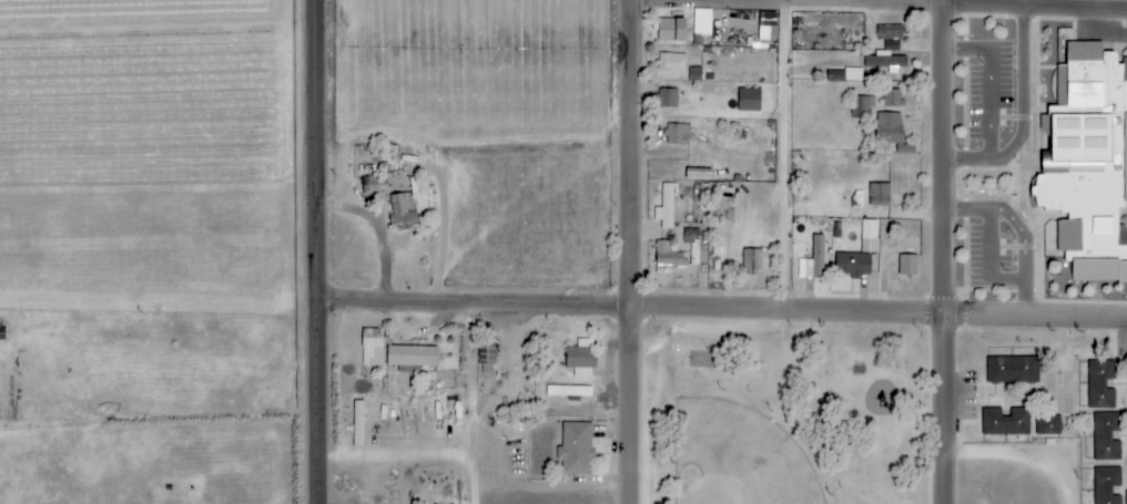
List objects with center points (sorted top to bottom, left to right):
road: (883, 3)
road: (1098, 4)
building: (702, 22)
building: (766, 27)
building: (670, 30)
building: (890, 32)
road: (1099, 33)
building: (889, 61)
building: (671, 63)
building: (853, 74)
building: (1090, 76)
road: (991, 80)
building: (668, 97)
building: (748, 100)
building: (862, 106)
road: (1023, 116)
building: (892, 123)
building: (677, 134)
road: (793, 153)
building: (879, 195)
building: (1084, 195)
building: (666, 207)
building: (402, 210)
road: (1021, 229)
building: (679, 250)
road: (323, 251)
road: (637, 251)
road: (942, 251)
building: (862, 254)
building: (813, 260)
building: (751, 263)
building: (907, 265)
road: (725, 309)
building: (372, 347)
building: (410, 356)
building: (486, 358)
building: (1013, 369)
building: (1100, 384)
building: (568, 391)
road: (479, 407)
building: (1005, 422)
building: (1048, 424)
building: (1106, 436)
building: (576, 449)
road: (1022, 459)
building: (1107, 485)
building: (1126, 497)

